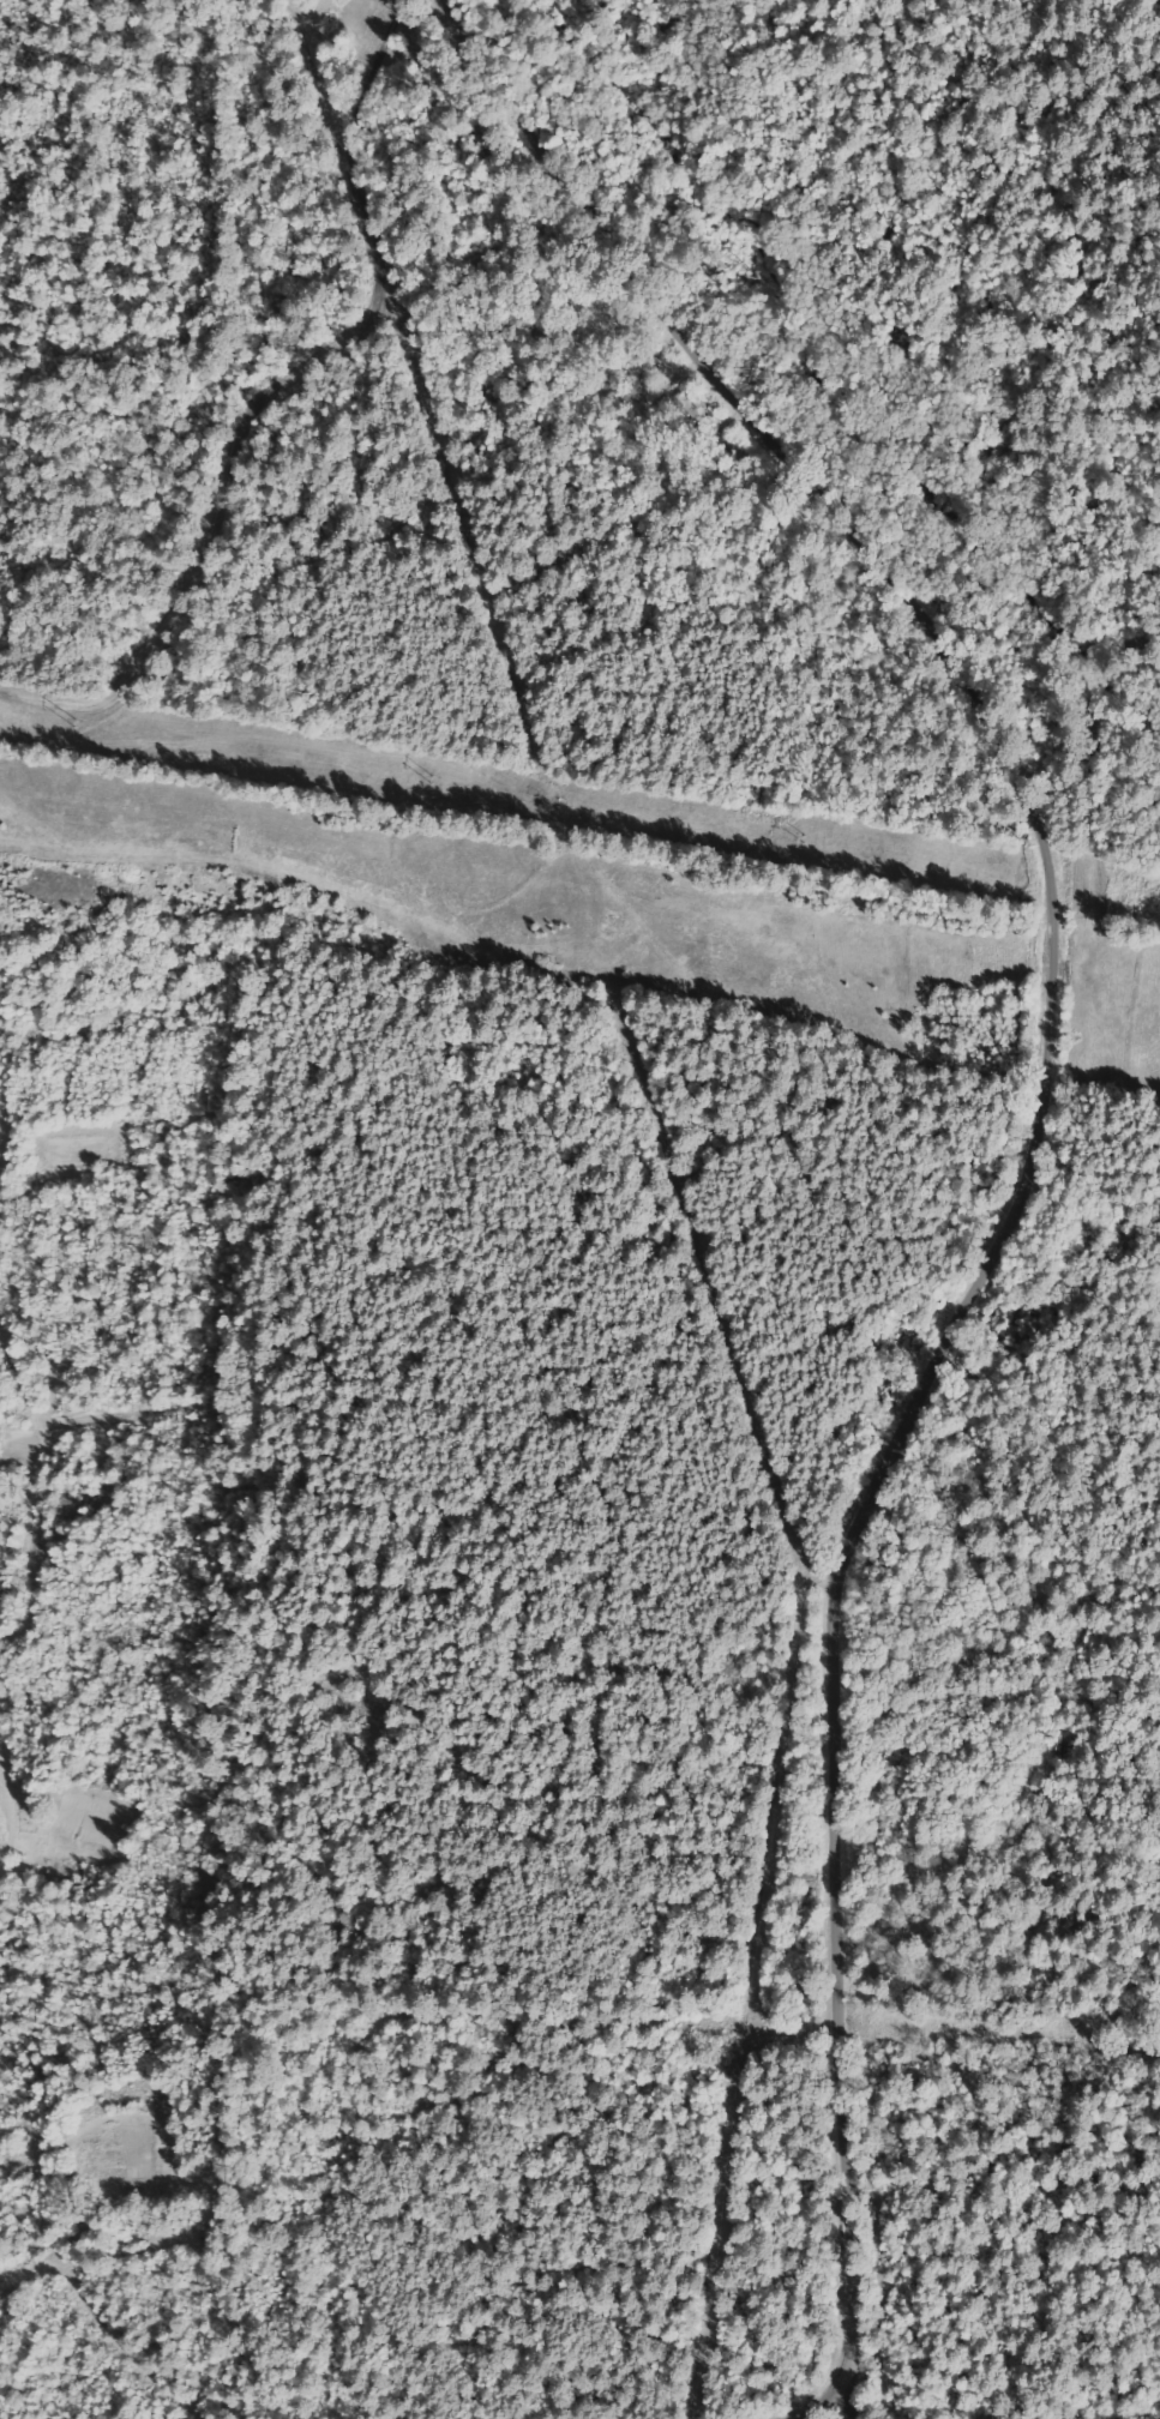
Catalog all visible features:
road: (997, 1118)
road: (100, 2309)

